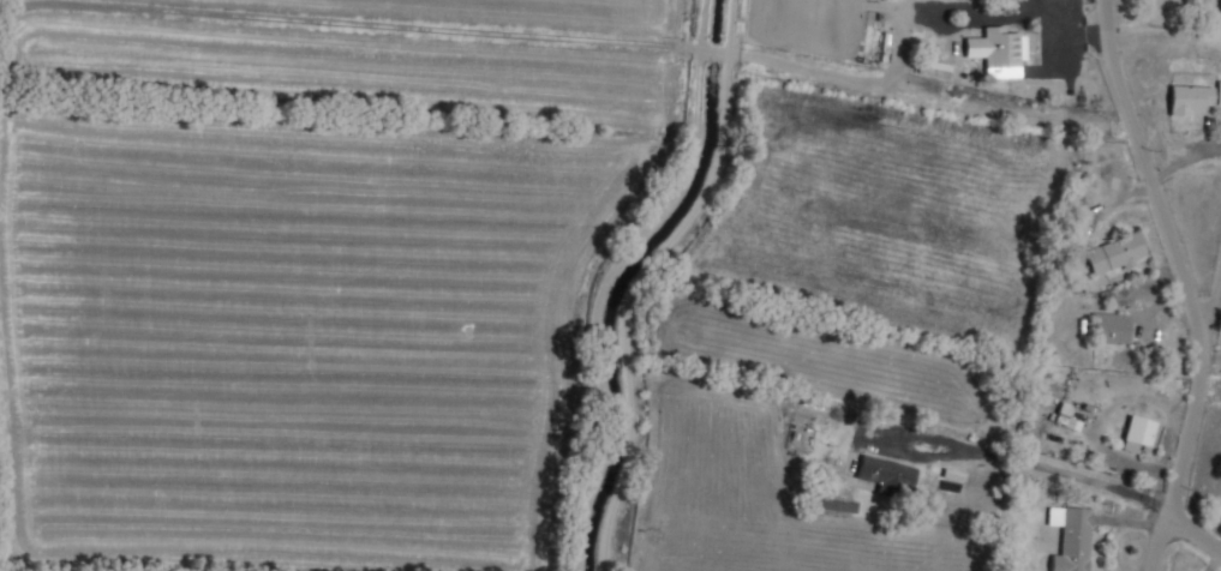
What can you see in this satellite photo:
building: (995, 5)
building: (1002, 54)
building: (1219, 92)
building: (1191, 100)
building: (1117, 256)
road: (1187, 283)
road: (1213, 320)
building: (1112, 329)
building: (1066, 422)
building: (1137, 435)
building: (887, 474)
road: (1071, 474)
building: (837, 505)
road: (1196, 527)
building: (1072, 540)

